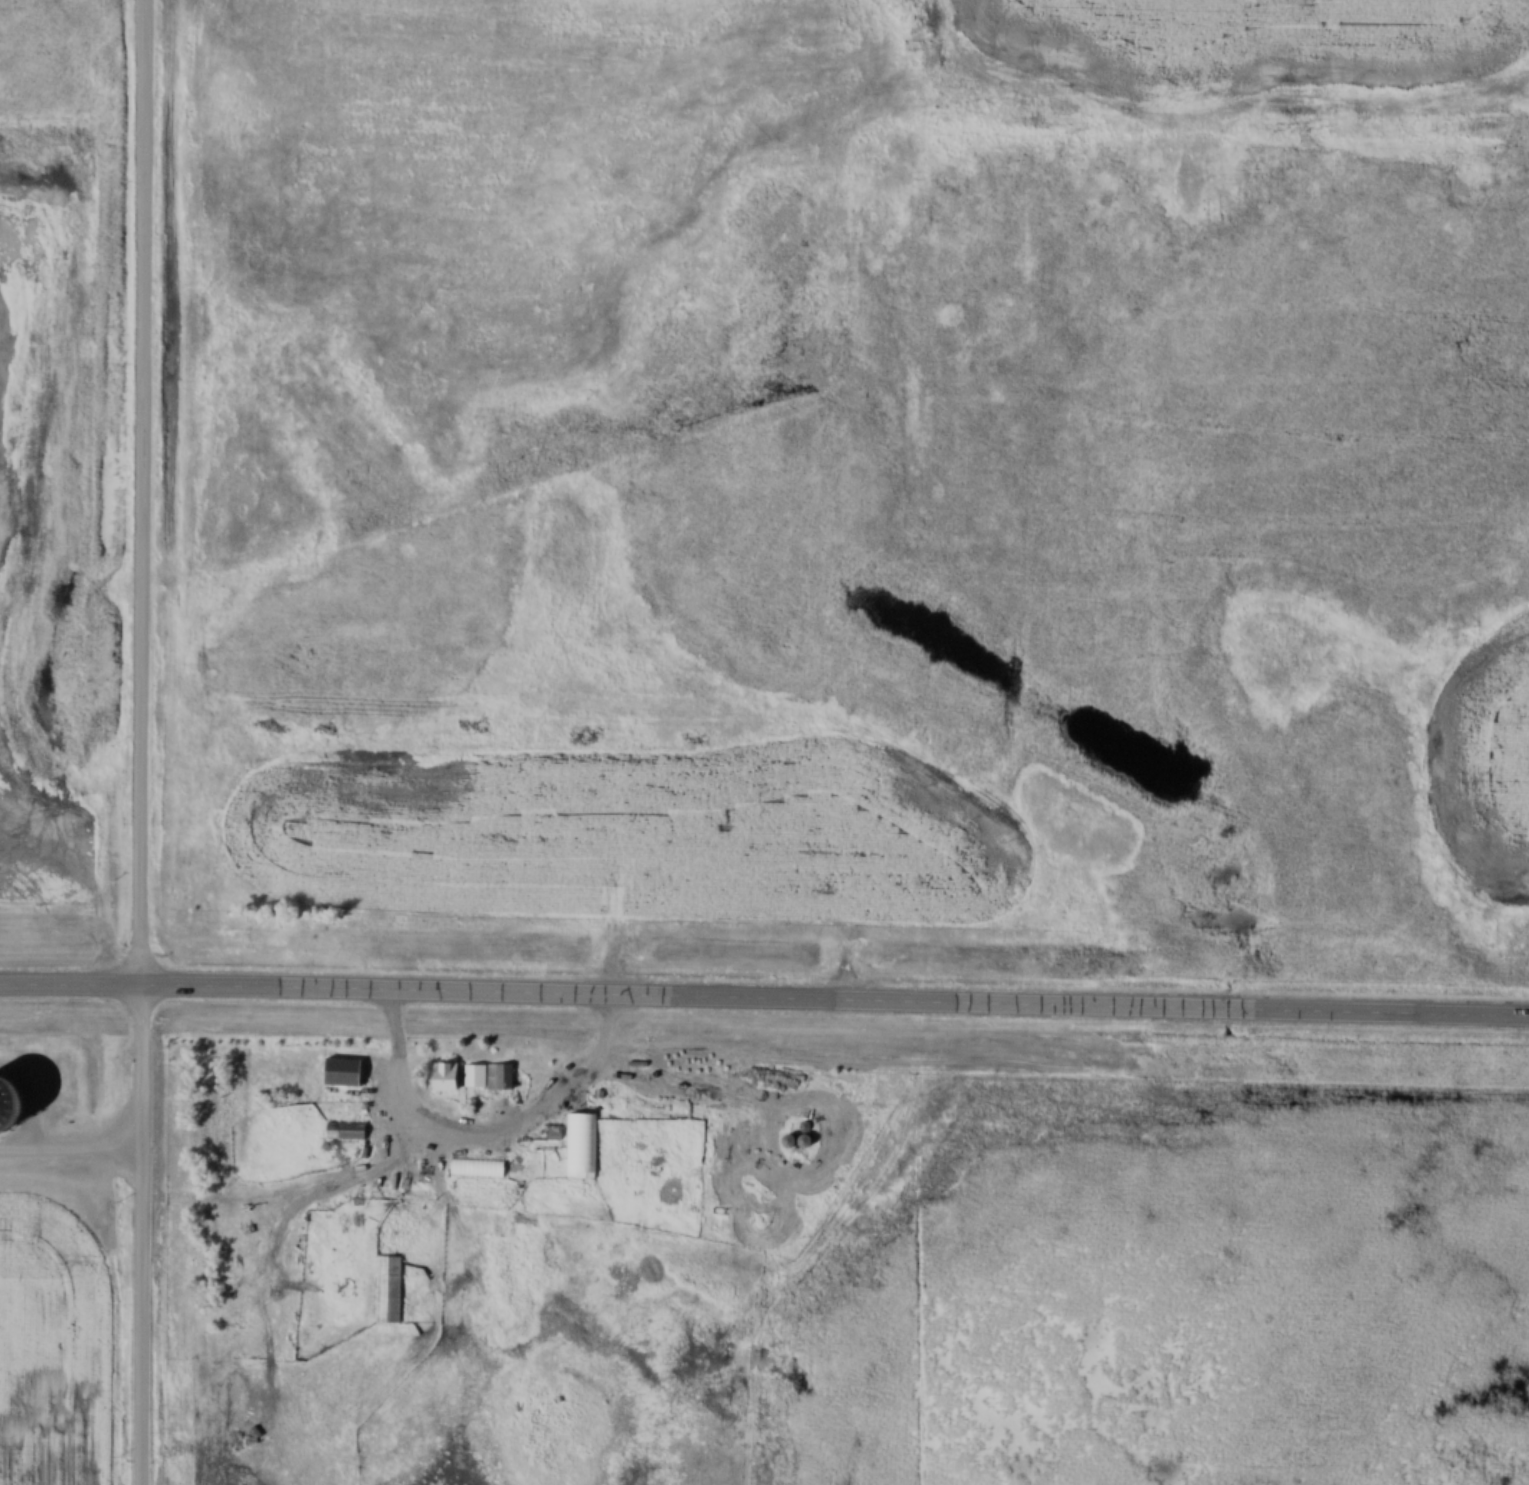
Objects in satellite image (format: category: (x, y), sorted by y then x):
road: (139, 742)
road: (764, 1004)
building: (337, 1072)
building: (467, 1076)
building: (340, 1130)
building: (578, 1149)
building: (385, 1290)
building: (408, 1353)

